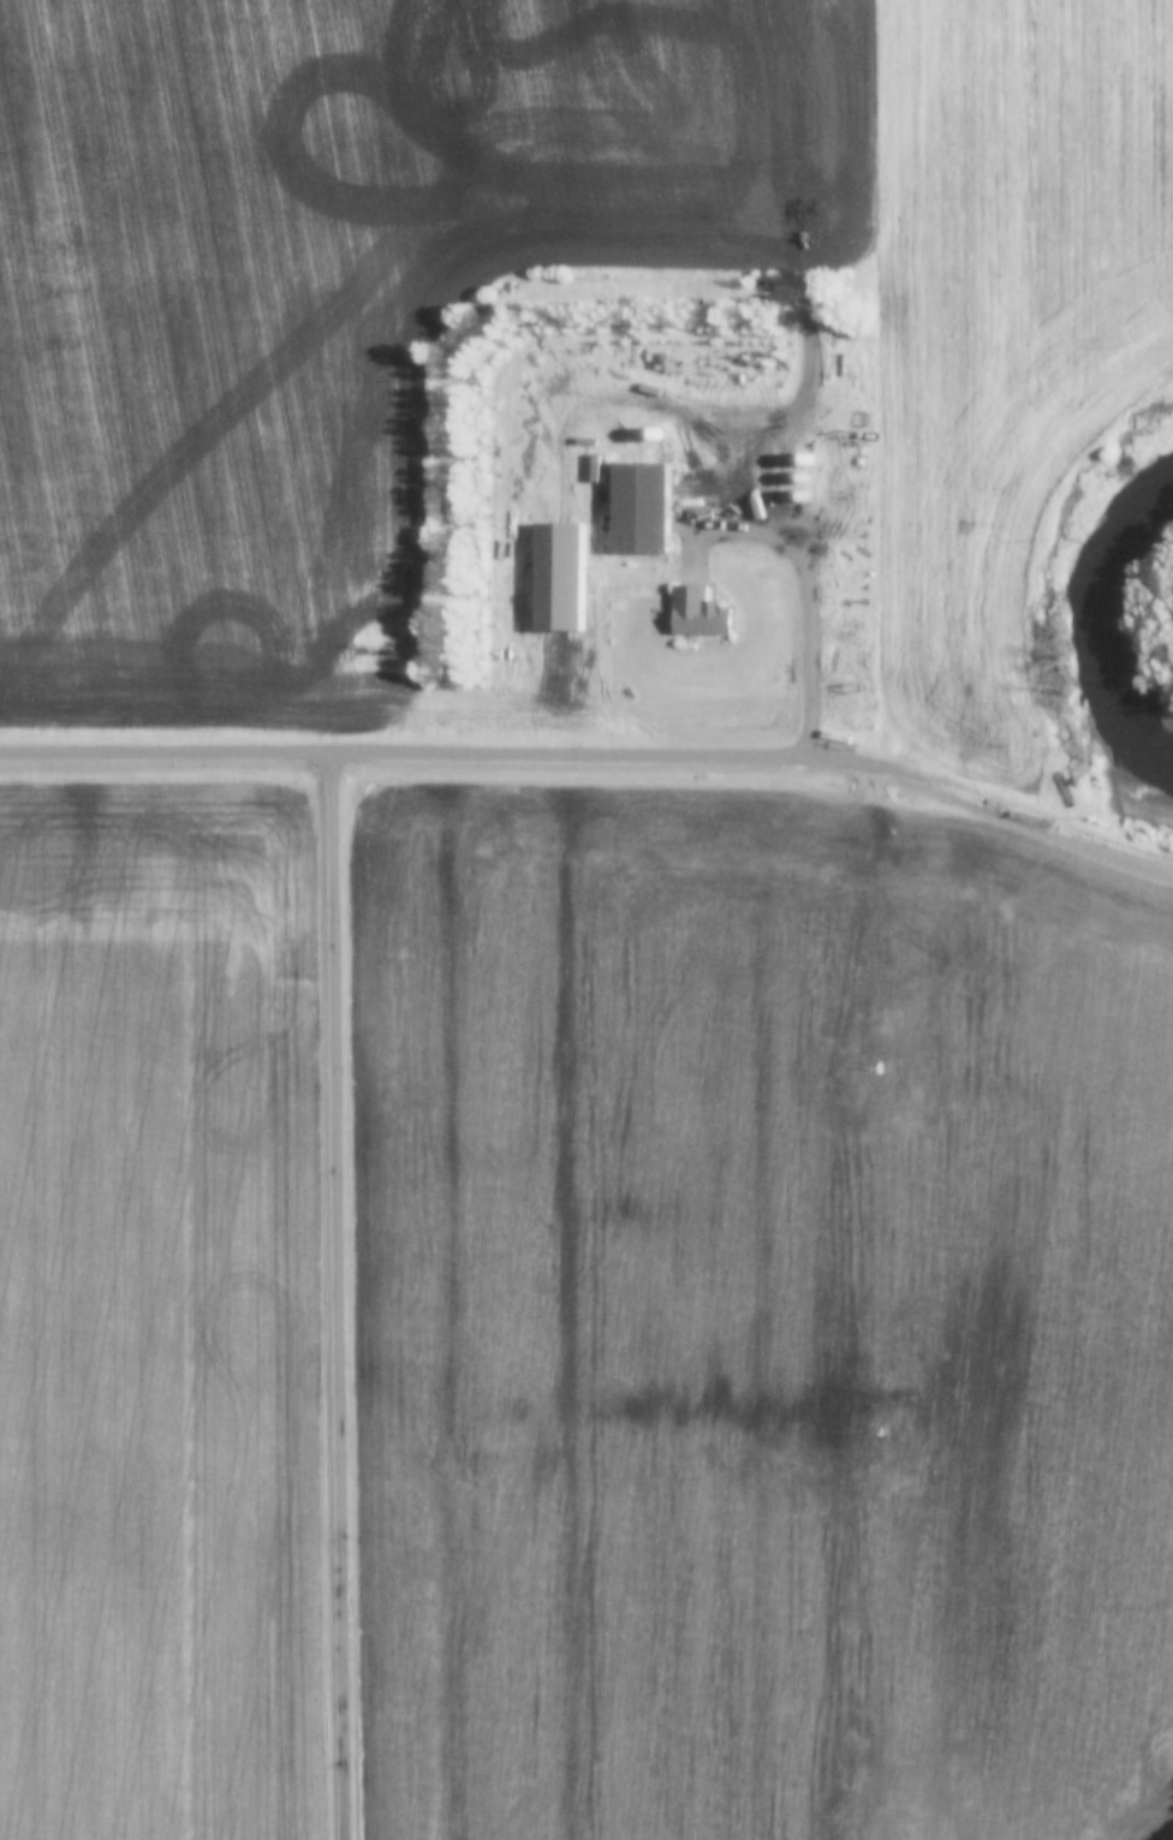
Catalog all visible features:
building: (639, 508)
road: (812, 599)
building: (697, 612)
river: (1125, 620)
road: (594, 752)
road: (341, 1294)

